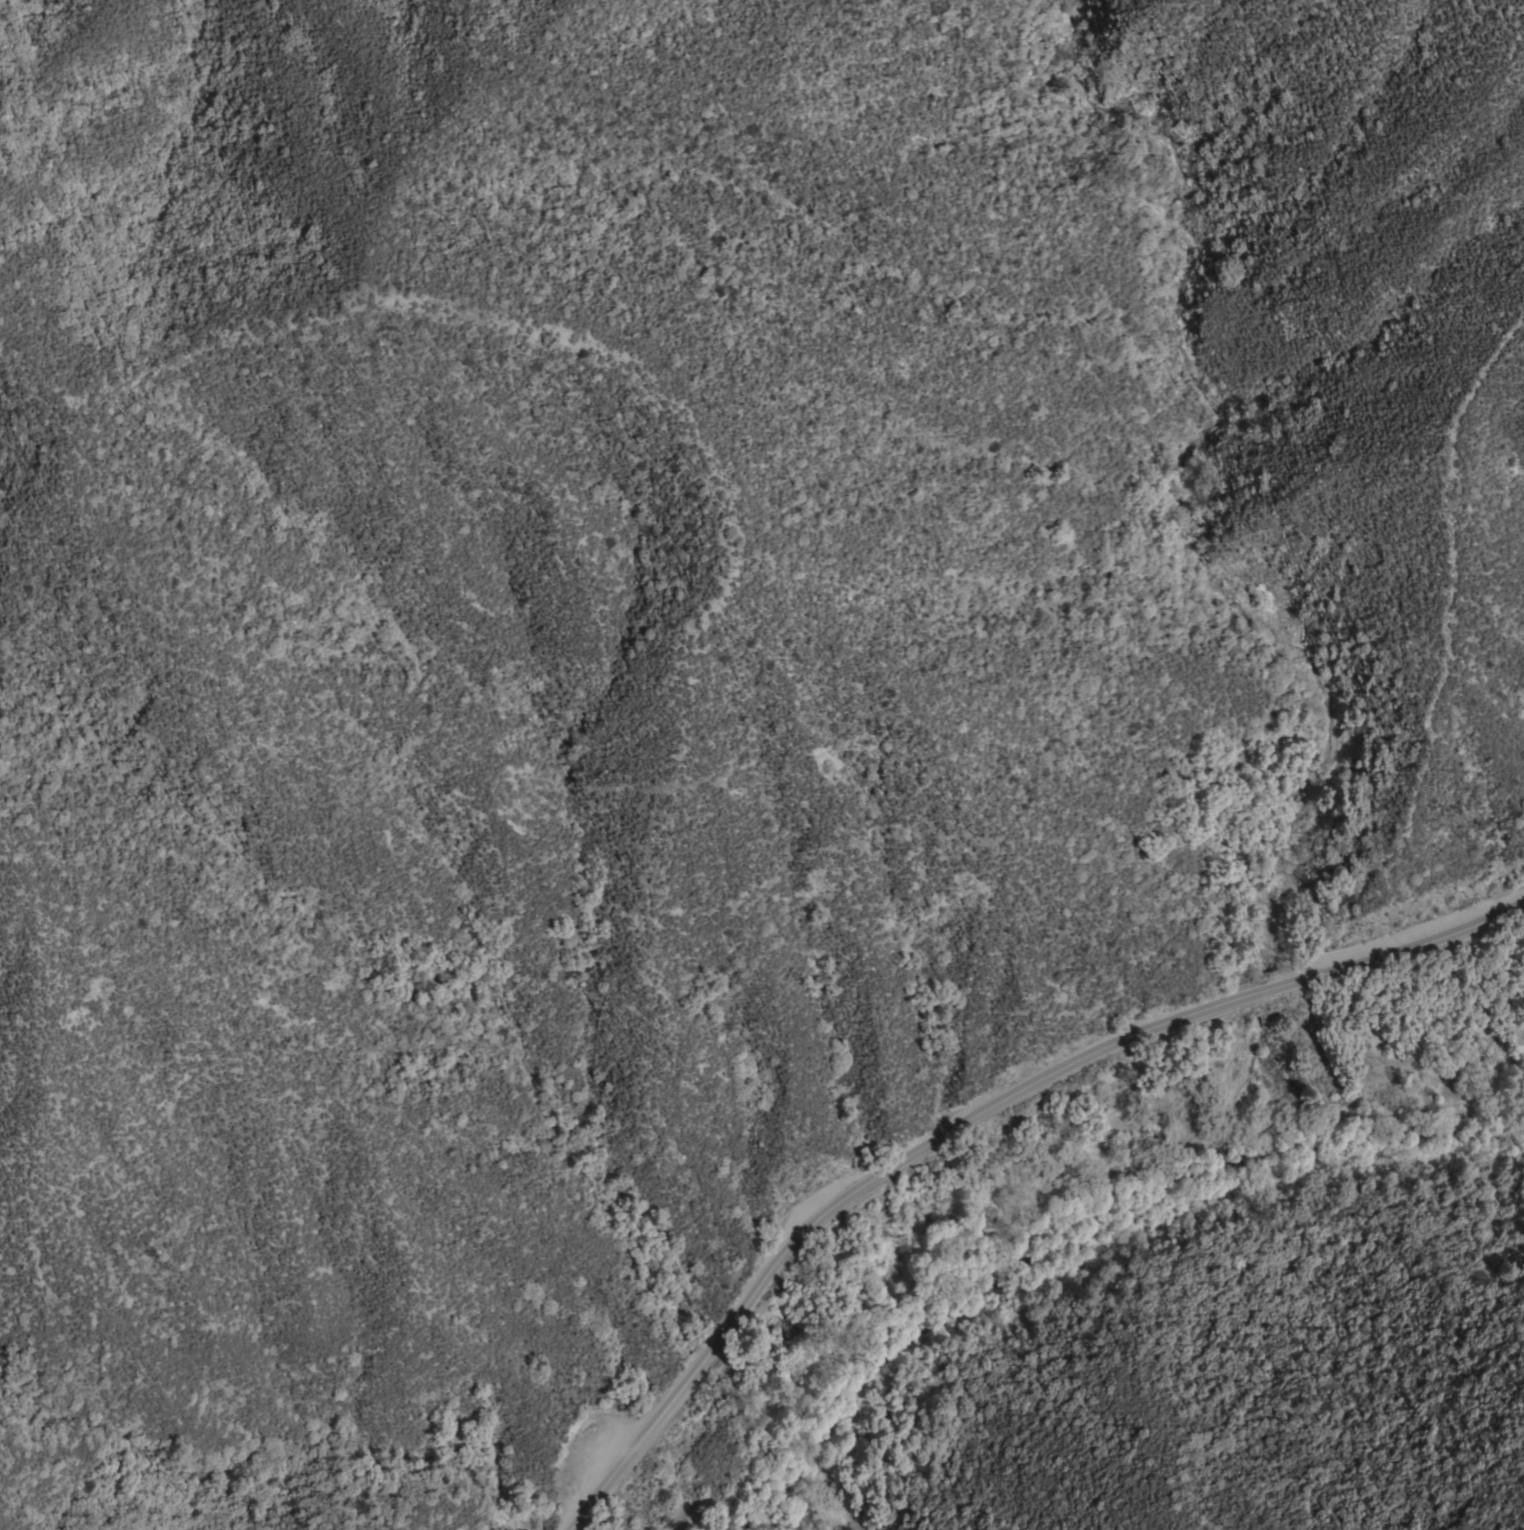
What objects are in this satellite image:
road: (978, 1114)

